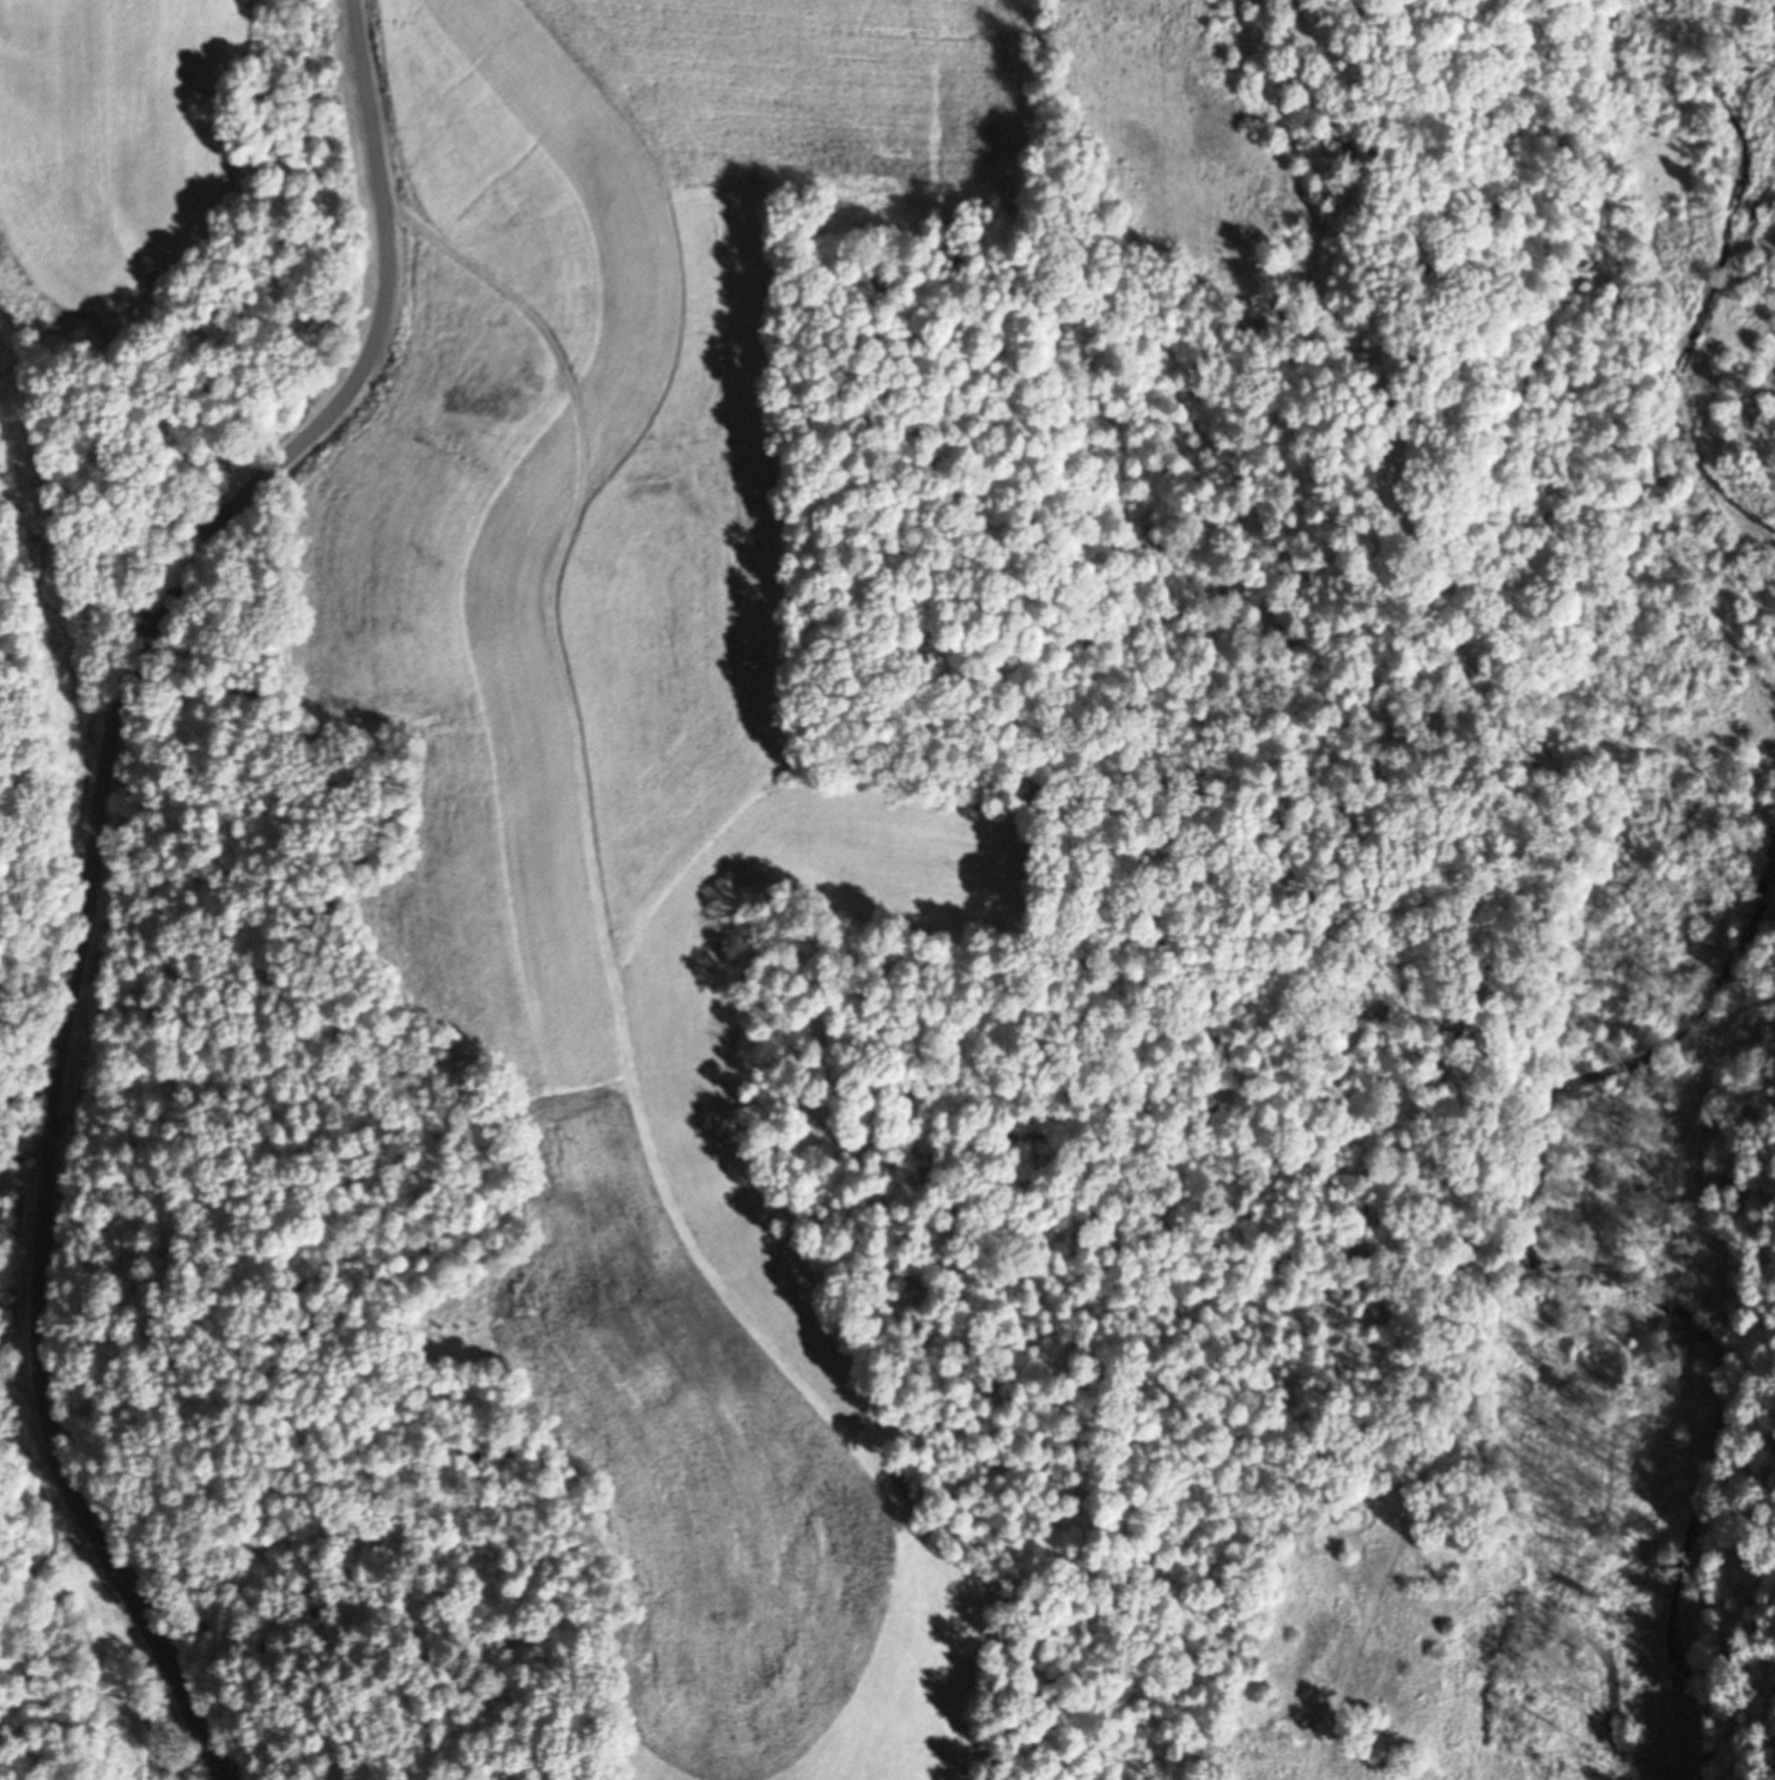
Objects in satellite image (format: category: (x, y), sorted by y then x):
road: (93, 867)

